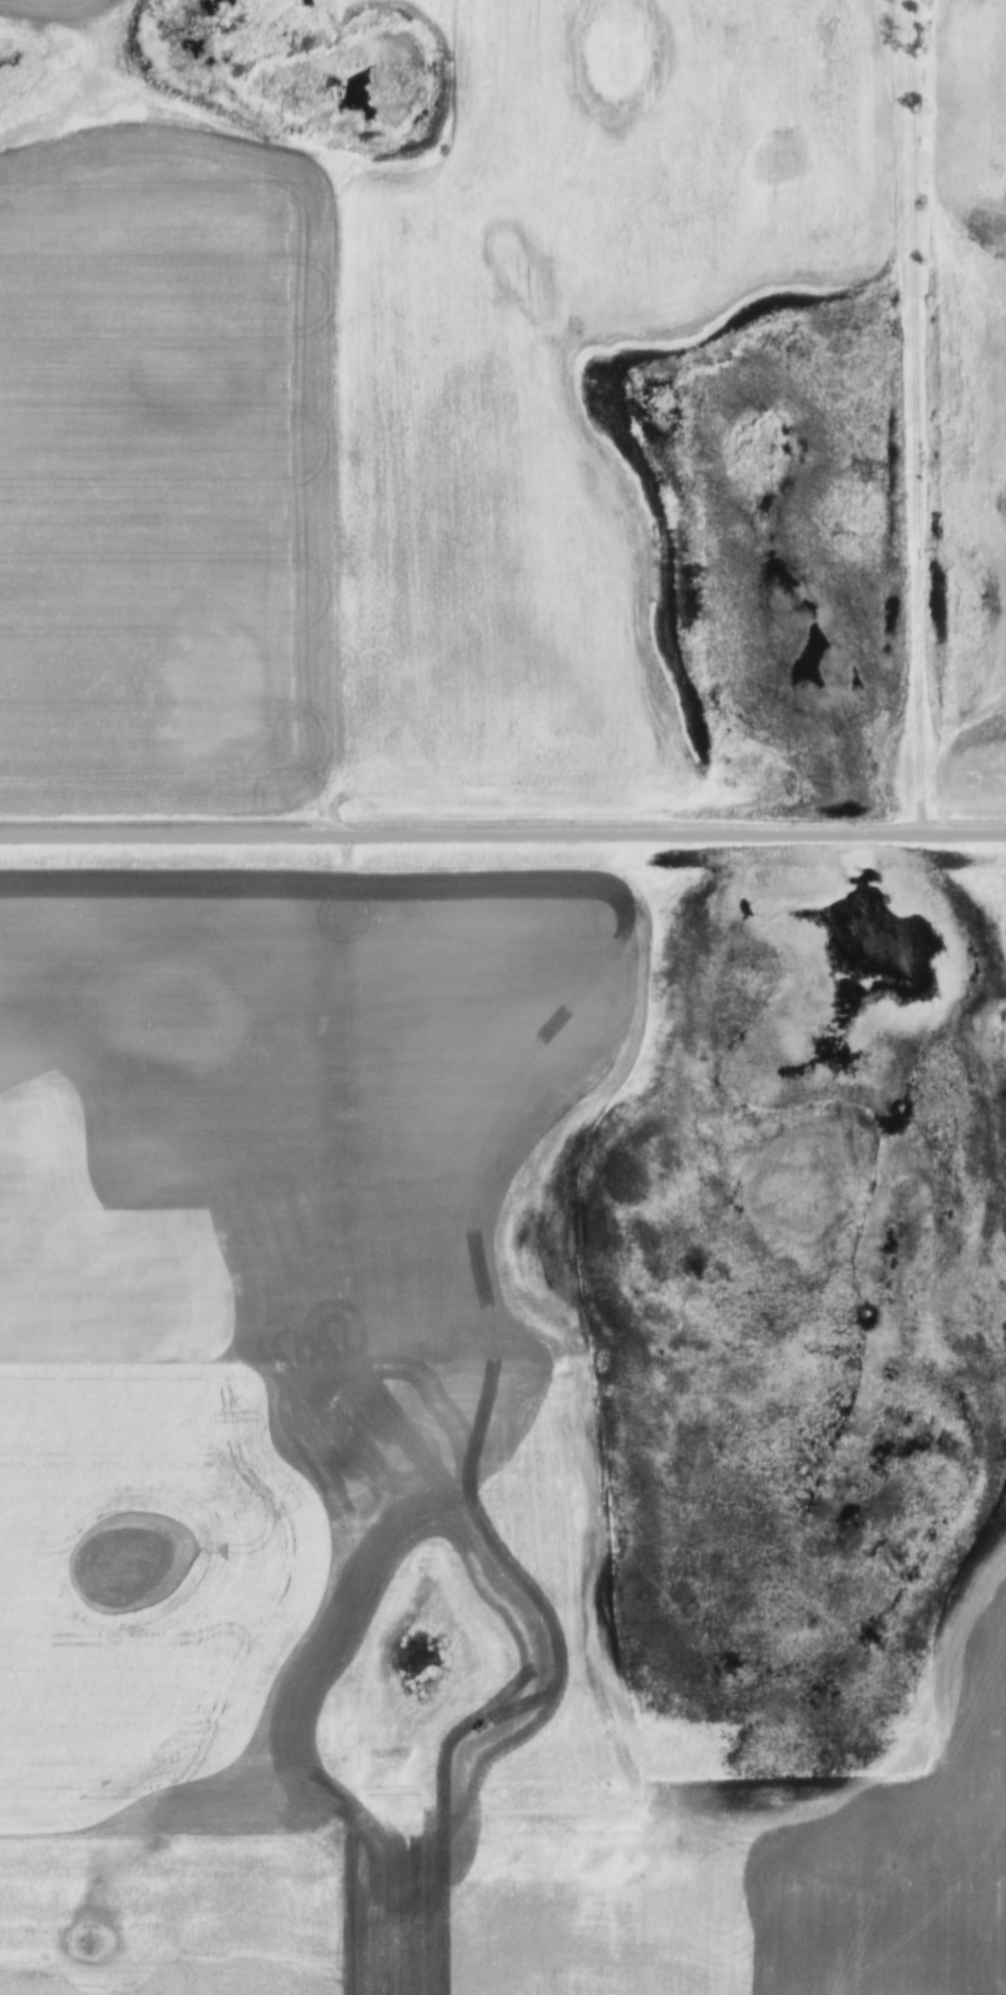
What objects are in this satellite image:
road: (913, 416)
road: (503, 834)

